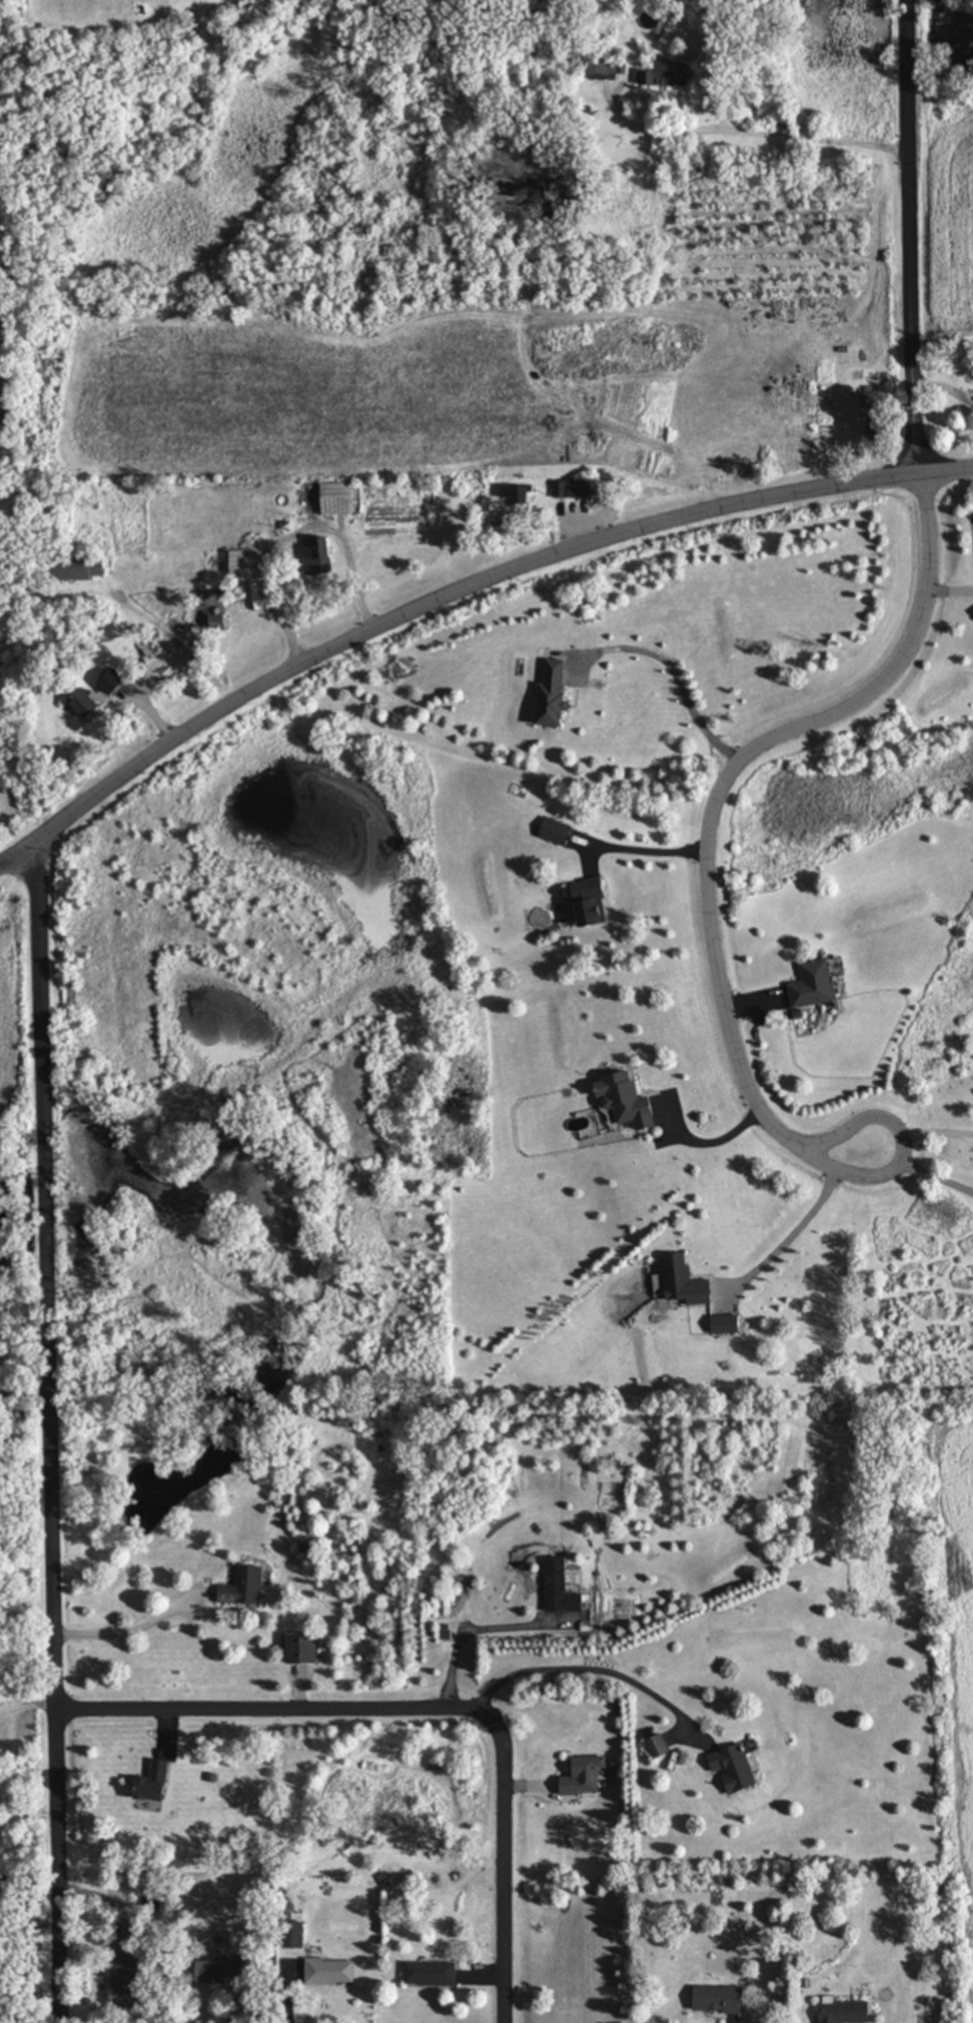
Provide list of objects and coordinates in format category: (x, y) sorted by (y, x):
building: (608, 67)
building: (669, 74)
road: (757, 134)
building: (575, 488)
building: (521, 494)
building: (340, 498)
road: (293, 534)
building: (321, 556)
building: (247, 564)
building: (77, 568)
road: (455, 586)
road: (890, 675)
road: (673, 677)
building: (117, 681)
building: (558, 694)
building: (89, 704)
road: (644, 852)
building: (593, 902)
building: (821, 983)
building: (628, 1099)
road: (879, 1127)
road: (940, 1135)
road: (712, 1142)
road: (938, 1176)
road: (789, 1235)
building: (688, 1280)
building: (728, 1322)
road: (48, 1432)
building: (244, 1585)
building: (562, 1587)
road: (473, 1630)
road: (128, 1631)
building: (301, 1647)
road: (586, 1671)
road: (424, 1708)
building: (661, 1746)
building: (738, 1767)
building: (584, 1775)
building: (158, 1781)
building: (331, 1969)
building: (219, 1971)
building: (431, 1972)
building: (128, 1975)
building: (722, 1997)
road: (293, 1999)
building: (847, 2012)

